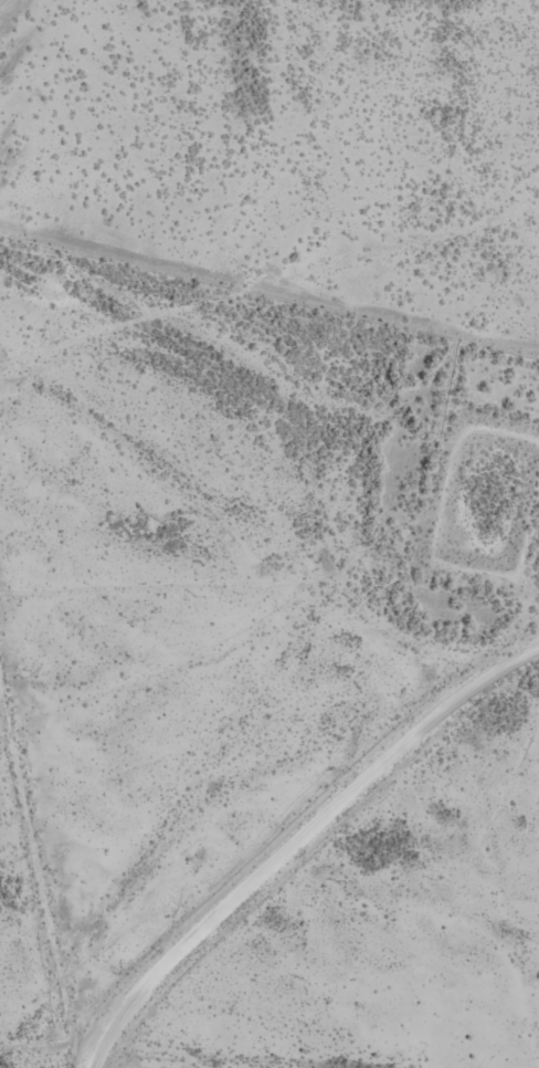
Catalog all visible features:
road: (262, 784)
road: (33, 929)

